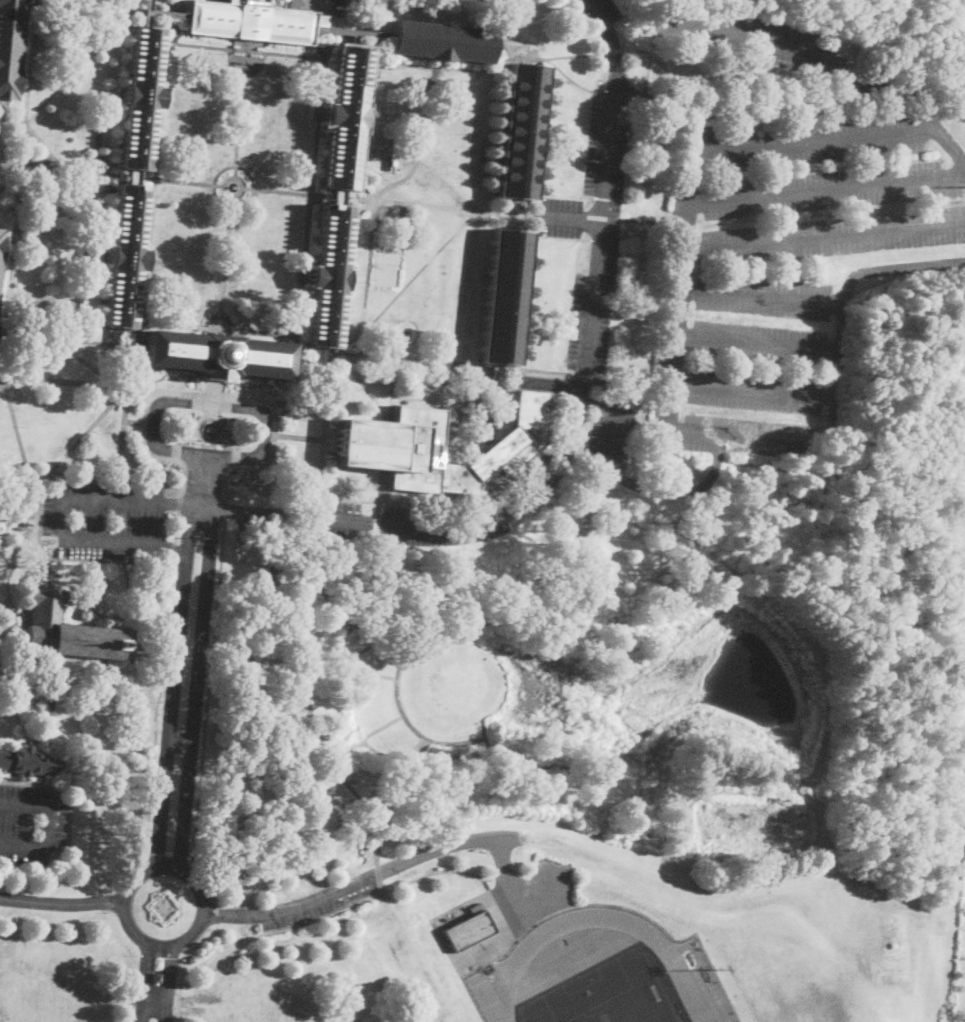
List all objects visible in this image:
road: (325, 2)
road: (101, 6)
parking lot: (601, 10)
building: (251, 20)
building: (344, 29)
building: (440, 42)
road: (766, 42)
road: (326, 45)
road: (207, 46)
building: (9, 47)
road: (614, 50)
road: (77, 66)
road: (492, 66)
road: (322, 86)
building: (139, 97)
road: (788, 101)
road: (924, 103)
road: (240, 113)
building: (343, 118)
road: (745, 127)
building: (519, 132)
road: (421, 142)
road: (946, 148)
road: (423, 163)
road: (242, 168)
road: (63, 169)
road: (180, 180)
road: (18, 187)
road: (39, 189)
road: (827, 189)
road: (233, 194)
road: (389, 201)
road: (223, 204)
road: (152, 207)
road: (568, 218)
parking lot: (593, 235)
road: (824, 238)
building: (1, 243)
building: (124, 255)
road: (226, 261)
road: (370, 266)
parking lot: (790, 269)
road: (304, 275)
building: (328, 276)
road: (409, 282)
building: (504, 297)
road: (762, 301)
road: (259, 332)
road: (758, 345)
building: (217, 355)
road: (0, 375)
road: (0, 376)
building: (504, 376)
road: (555, 386)
road: (142, 388)
road: (122, 390)
road: (753, 393)
road: (212, 394)
road: (140, 395)
road: (670, 395)
road: (211, 404)
road: (133, 421)
road: (16, 426)
road: (121, 433)
parking lot: (610, 438)
building: (498, 444)
road: (566, 445)
building: (396, 447)
road: (16, 474)
road: (100, 478)
road: (631, 482)
road: (179, 503)
road: (22, 504)
road: (224, 507)
road: (60, 512)
parking lot: (105, 519)
road: (38, 522)
parking lot: (372, 523)
road: (176, 526)
road: (173, 546)
road: (94, 560)
building: (66, 631)
road: (171, 685)
road: (194, 688)
road: (208, 692)
park: (402, 695)
building: (46, 704)
park: (63, 705)
road: (155, 707)
road: (177, 745)
building: (547, 751)
building: (590, 761)
building: (28, 762)
parking lot: (31, 823)
road: (47, 825)
road: (232, 865)
road: (157, 867)
road: (506, 879)
road: (362, 880)
parking lot: (533, 894)
road: (61, 902)
parking lot: (314, 907)
road: (241, 915)
road: (274, 930)
building: (468, 930)
road: (241, 932)
track: (541, 964)
building: (157, 978)
road: (144, 982)
road: (167, 983)
park: (603, 996)
road: (178, 1002)
road: (154, 1003)

